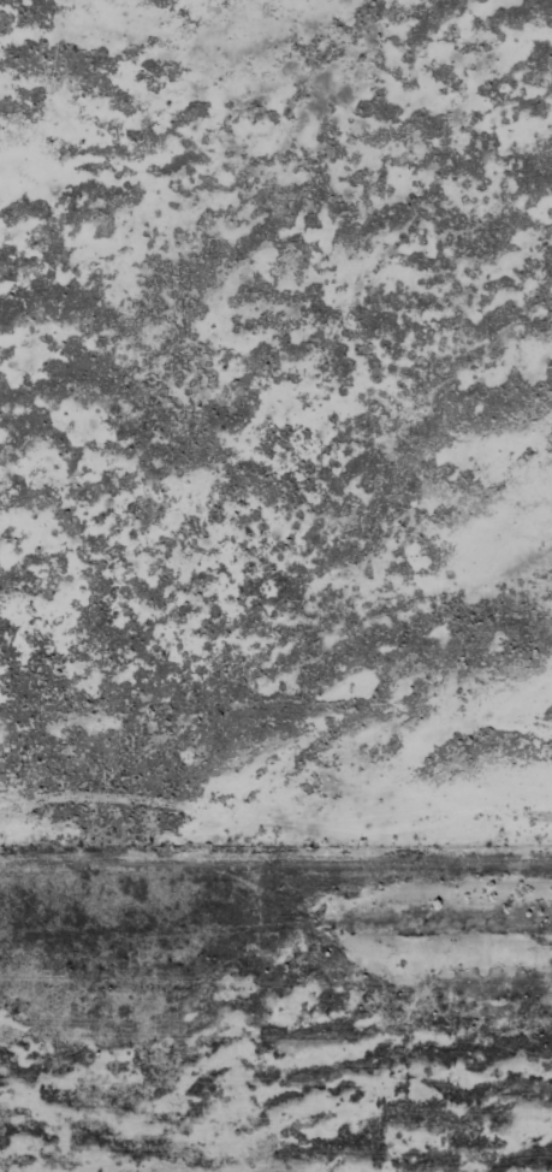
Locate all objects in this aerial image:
road: (275, 895)

